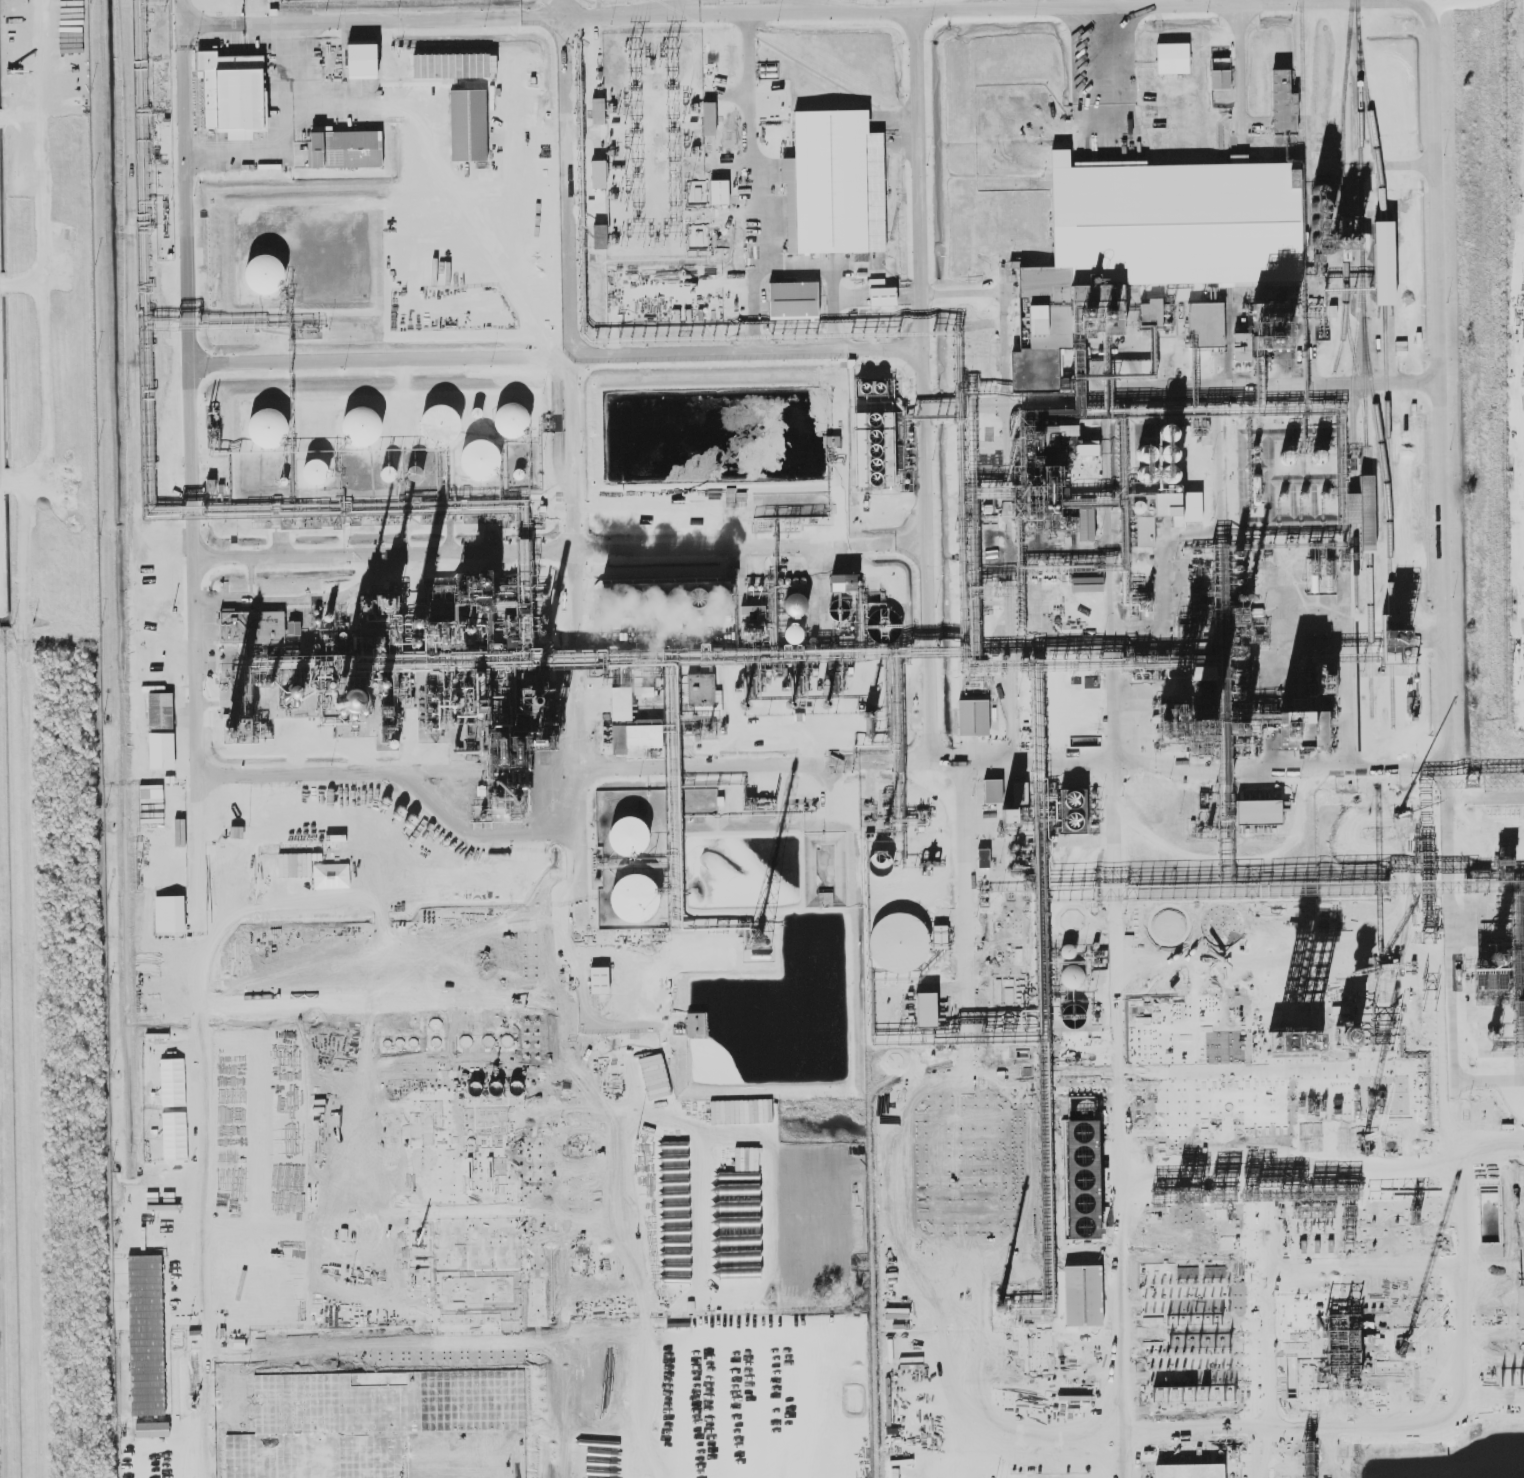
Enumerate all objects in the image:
parking lot: (320, 1)
power tower: (670, 47)
power tower: (633, 48)
building: (1172, 58)
building: (362, 61)
road: (1240, 64)
railway: (1302, 91)
building: (232, 93)
building: (1283, 104)
building: (598, 111)
building: (709, 118)
railway: (1370, 118)
building: (468, 125)
railway: (1343, 141)
power substation: (653, 145)
building: (345, 148)
building: (835, 184)
road: (751, 186)
building: (719, 192)
building: (600, 237)
railway: (1361, 237)
building: (1150, 245)
building: (1384, 263)
railway: (1384, 263)
building: (264, 274)
building: (881, 294)
building: (793, 300)
building: (1023, 306)
building: (1206, 325)
railway: (1343, 327)
building: (1240, 353)
railway: (1356, 364)
road: (558, 368)
railway: (1353, 373)
railway: (1375, 413)
building: (511, 421)
building: (441, 423)
building: (363, 427)
building: (267, 428)
building: (1087, 449)
building: (480, 459)
building: (315, 472)
building: (1178, 507)
railway: (1354, 508)
road: (1442, 508)
building: (1362, 511)
railway: (1368, 513)
railway: (1387, 516)
building: (1086, 525)
building: (1145, 531)
road: (833, 554)
railway: (1355, 566)
building: (843, 583)
building: (1087, 584)
building: (663, 598)
building: (795, 606)
building: (252, 627)
building: (794, 634)
railway: (1370, 634)
road: (580, 652)
road: (932, 662)
building: (701, 690)
building: (621, 704)
building: (160, 711)
building: (973, 718)
building: (1304, 727)
building: (636, 737)
road: (200, 739)
building: (161, 750)
road: (421, 776)
building: (992, 791)
building: (1020, 793)
road: (1486, 797)
building: (1258, 812)
building: (1009, 818)
building: (629, 837)
building: (983, 858)
building: (634, 899)
building: (169, 914)
building: (899, 942)
building: (1072, 977)
building: (599, 980)
road: (585, 986)
building: (926, 1009)
building: (696, 1024)
road: (1488, 1080)
building: (173, 1082)
road: (969, 1102)
building: (175, 1136)
building: (1082, 1296)
road: (1121, 1327)
road: (1262, 1327)
road: (1334, 1427)
road: (922, 1431)

